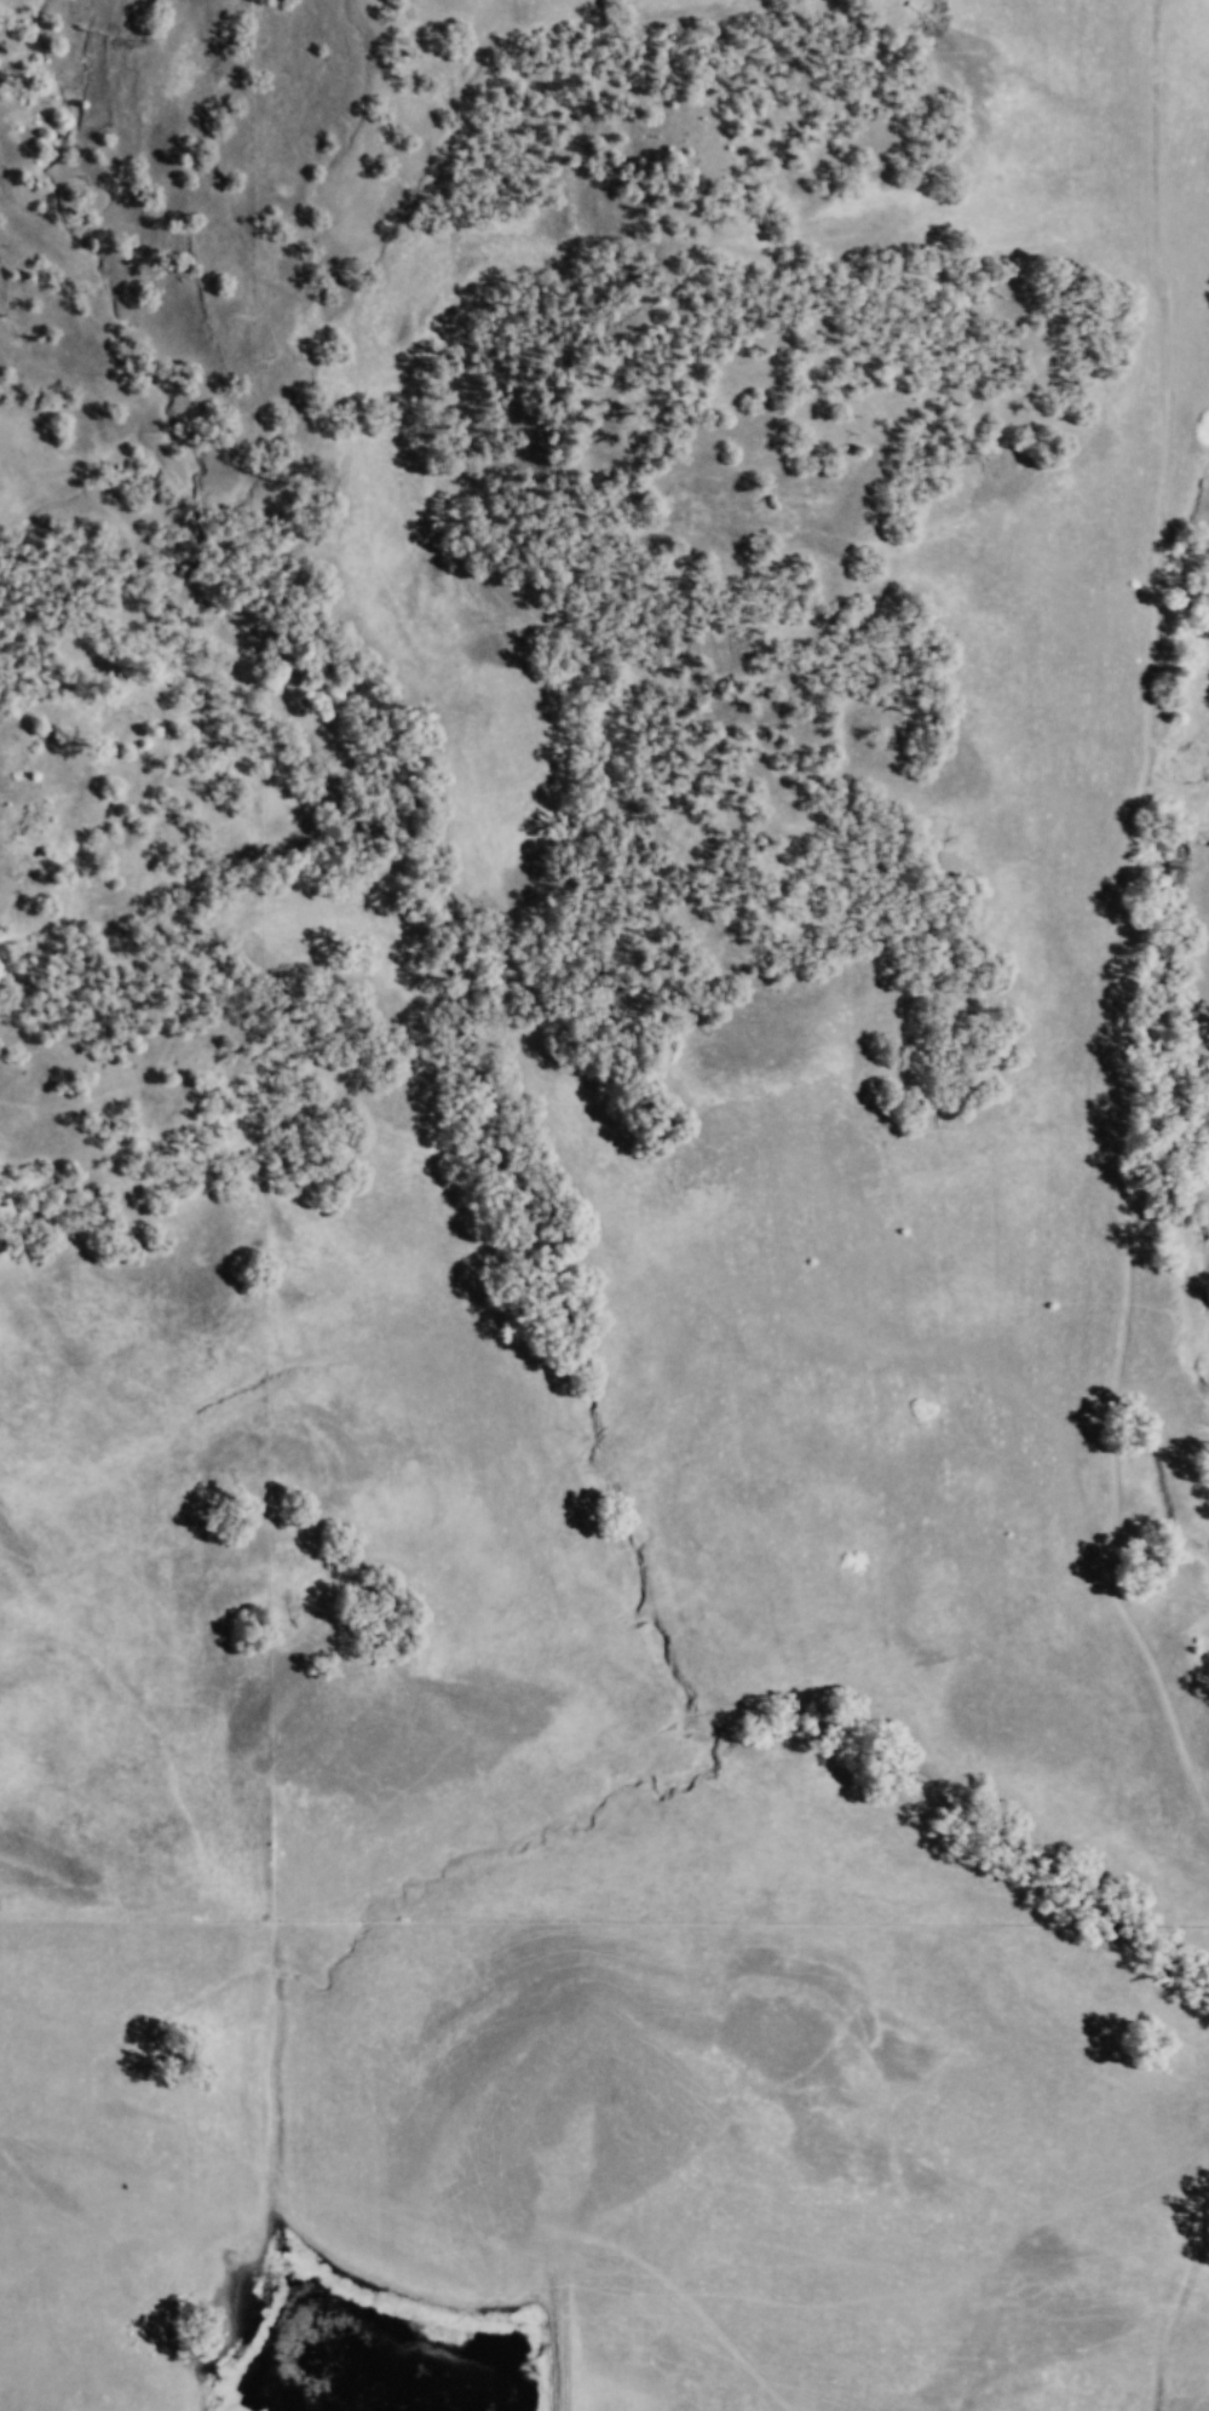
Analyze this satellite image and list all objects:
road: (1138, 908)

